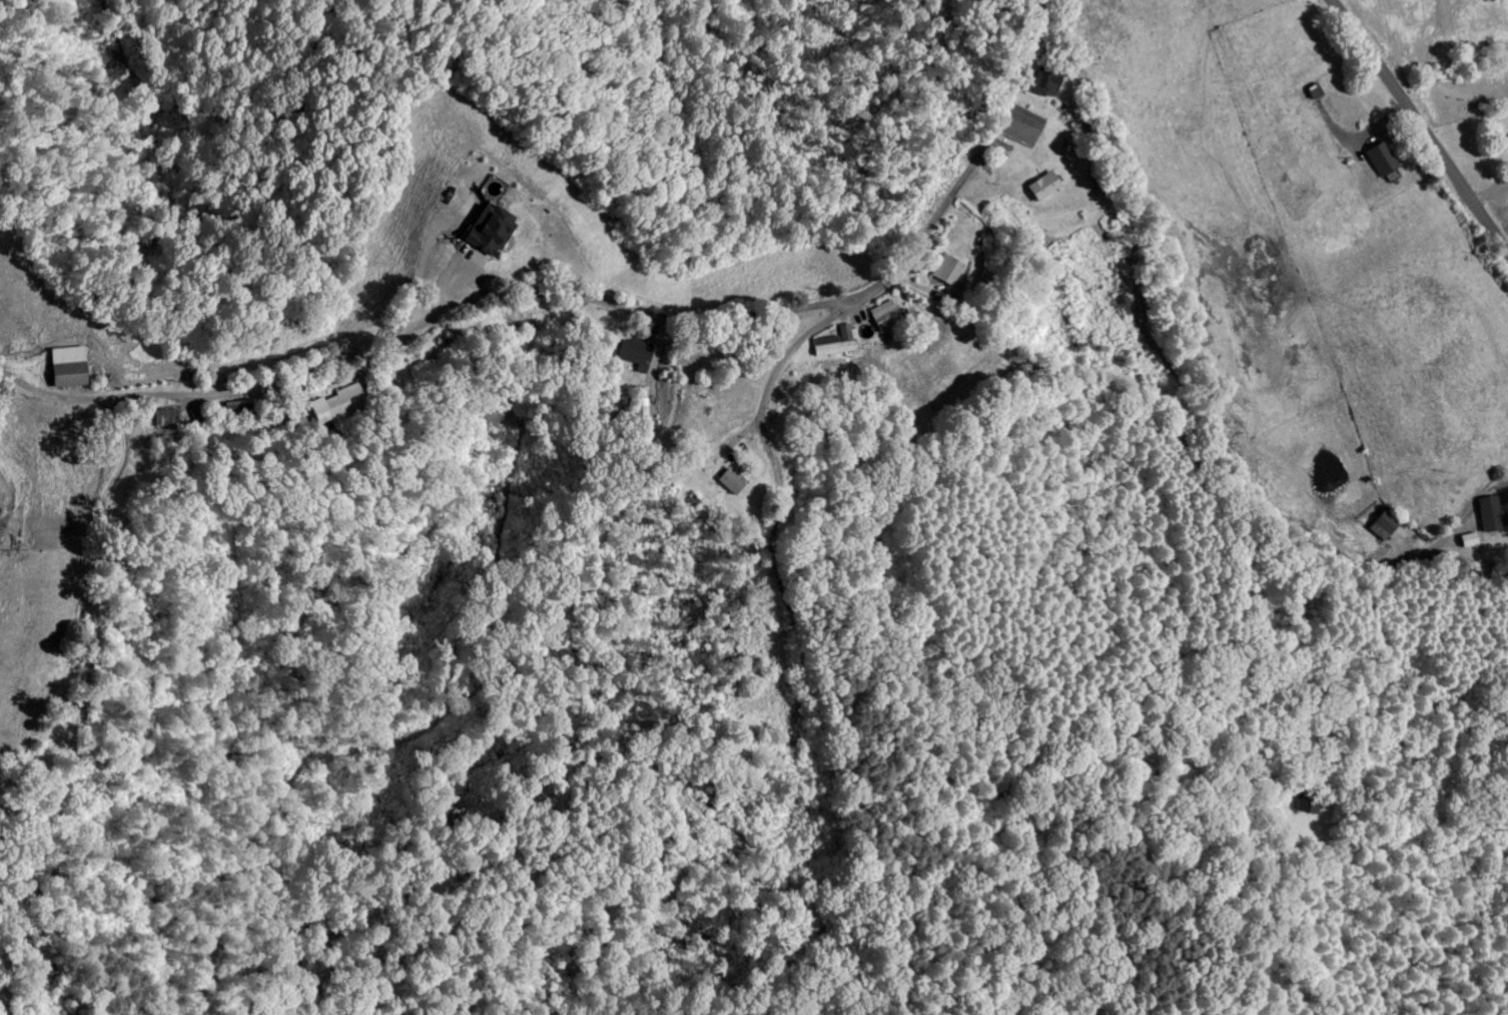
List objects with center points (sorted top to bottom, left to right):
building: (1043, 85)
road: (1419, 125)
building: (1506, 141)
building: (1377, 161)
building: (1038, 189)
building: (484, 232)
road: (592, 272)
building: (942, 273)
building: (878, 318)
building: (832, 345)
building: (631, 355)
building: (62, 369)
building: (327, 405)
building: (638, 411)
building: (726, 484)
building: (1486, 516)
building: (1382, 525)
road: (807, 644)

